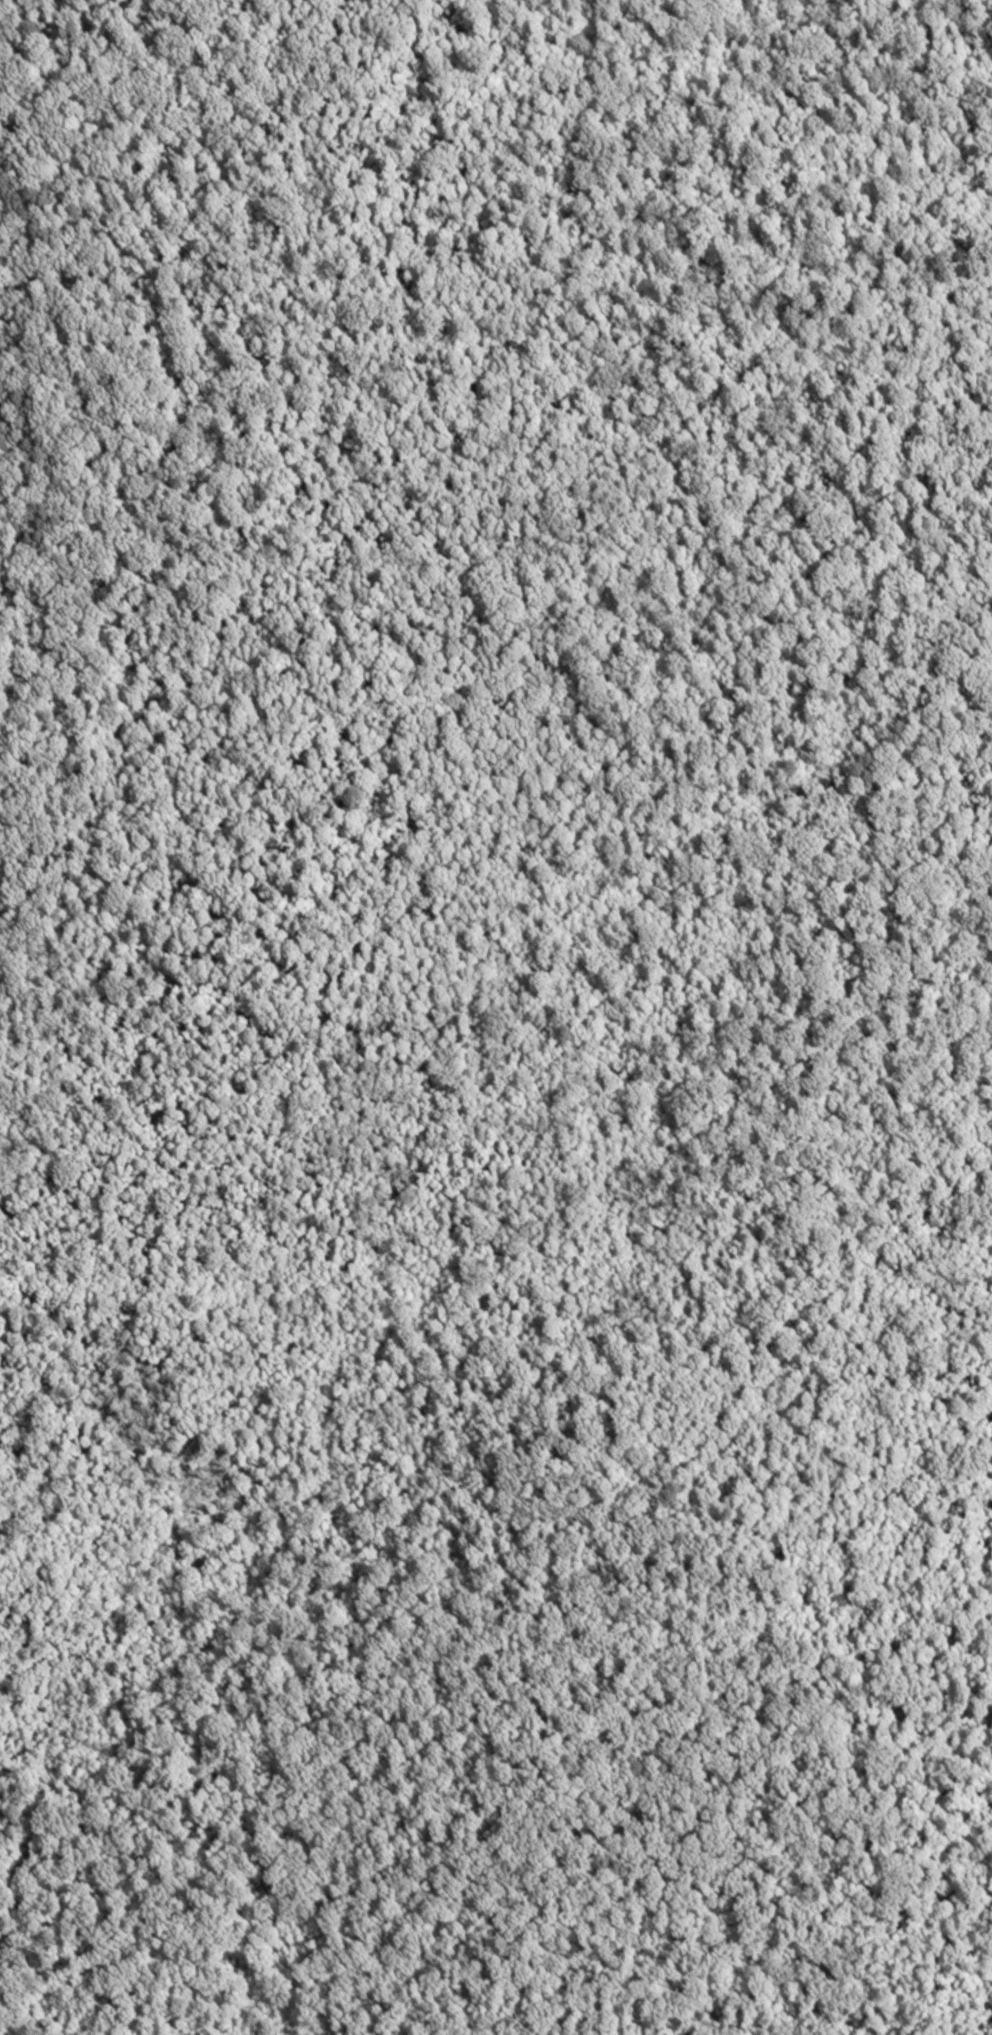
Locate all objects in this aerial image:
road: (707, 1001)

